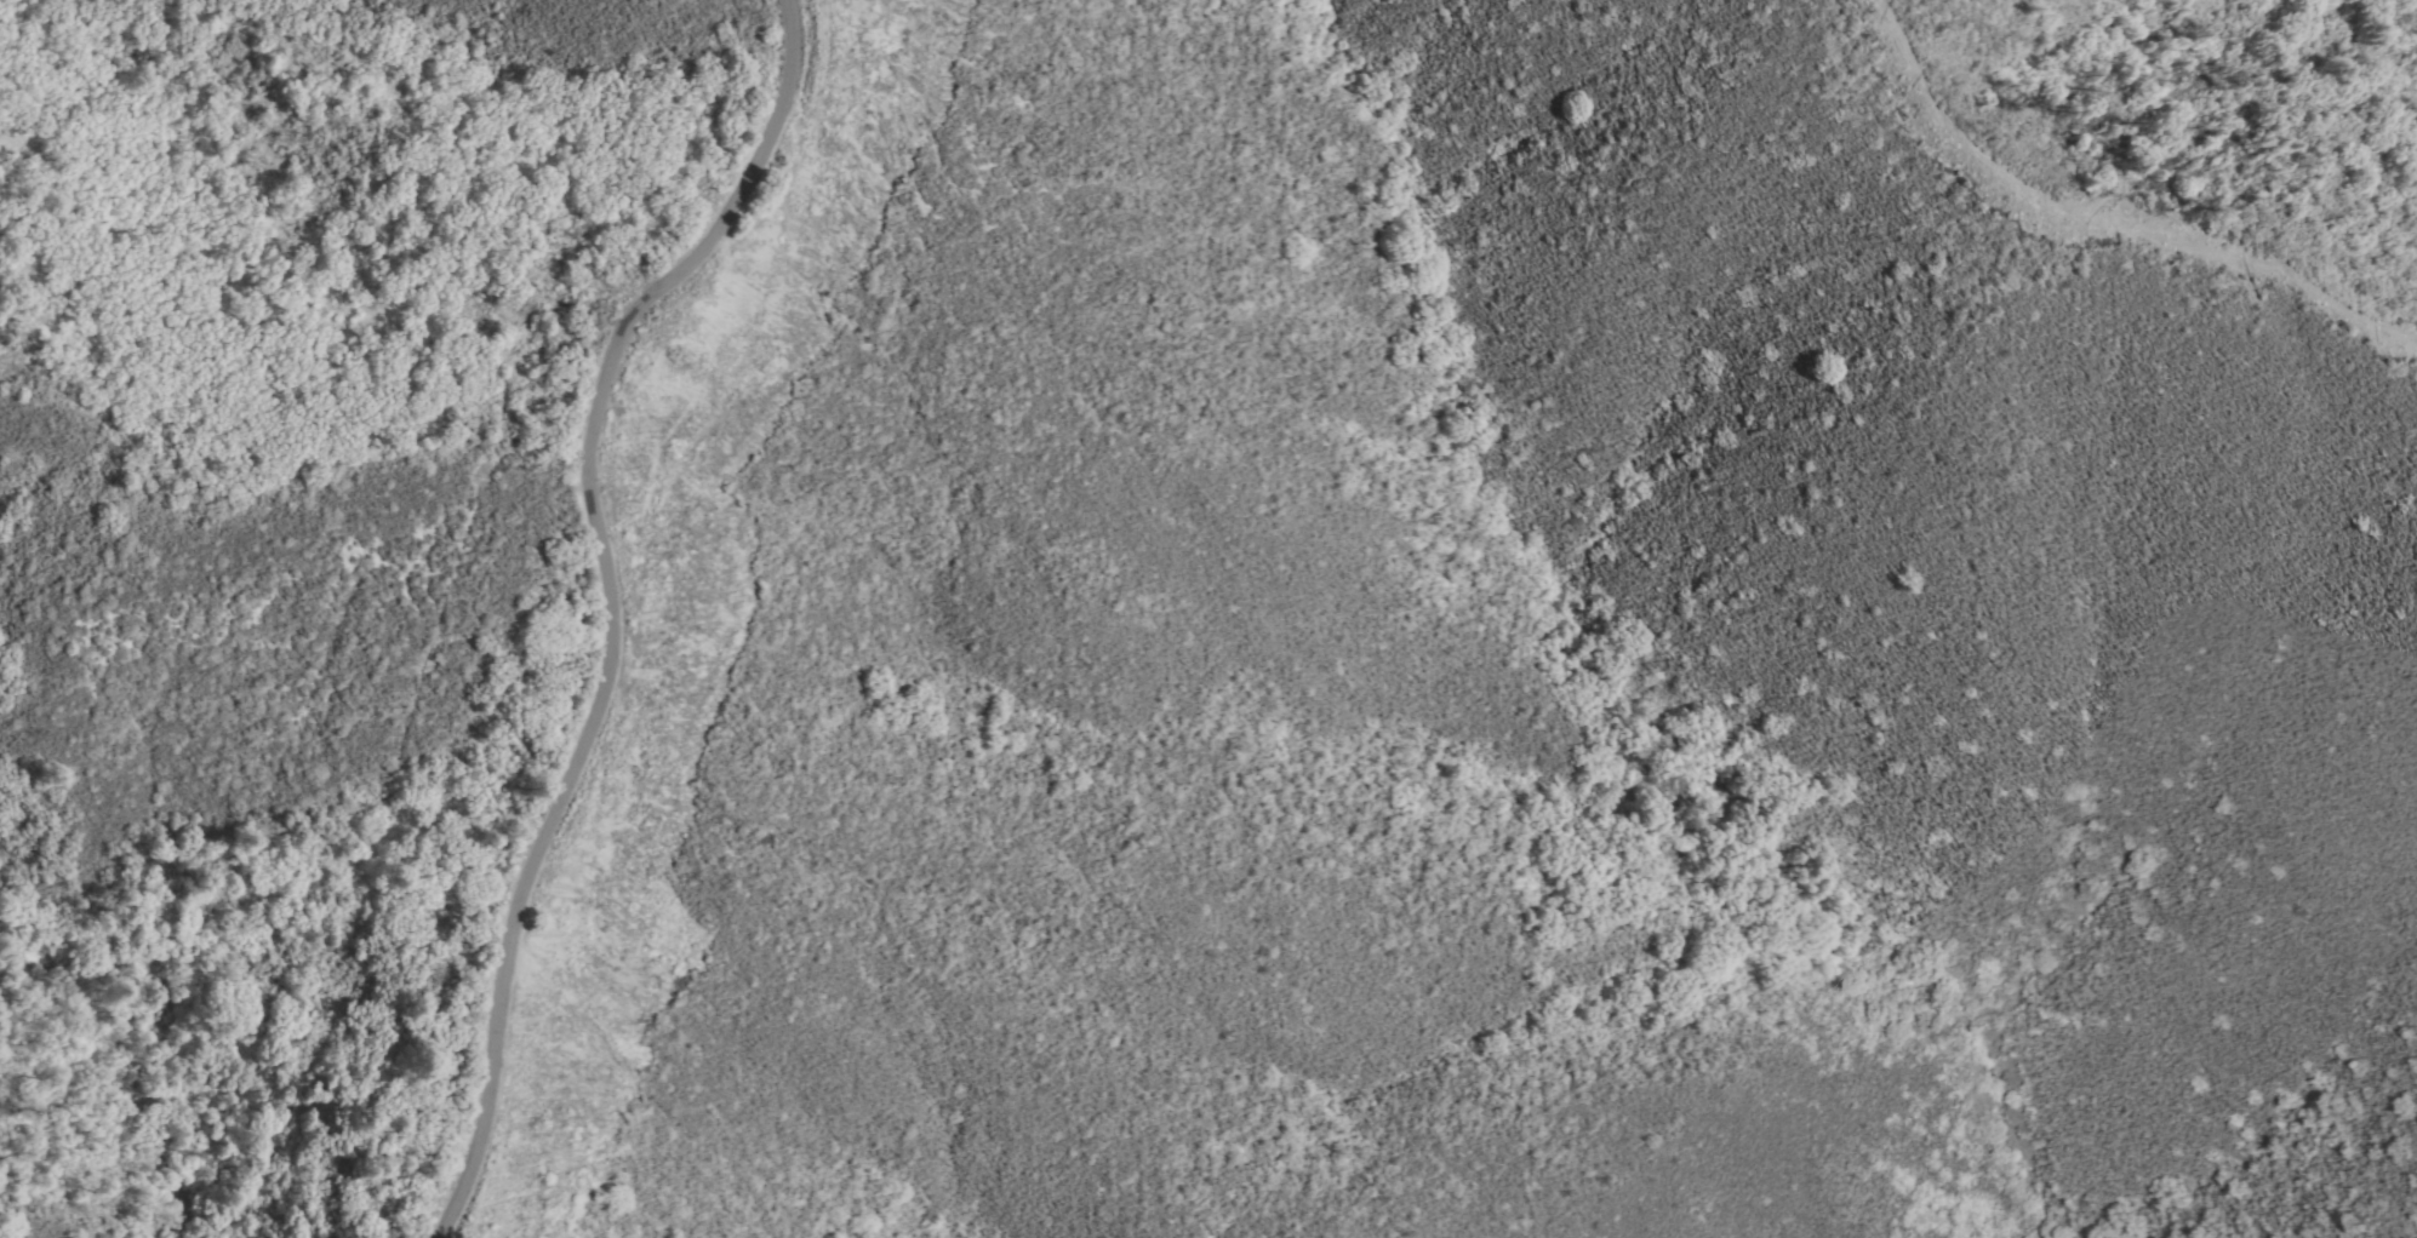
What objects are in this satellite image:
road: (2116, 212)
road: (612, 602)

